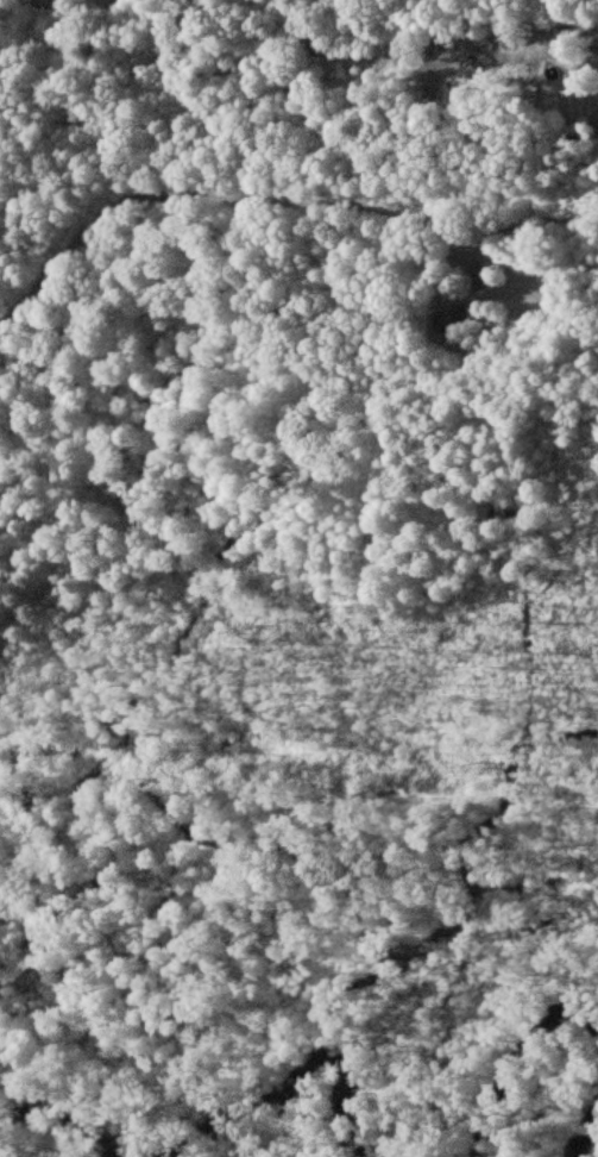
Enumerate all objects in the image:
building: (578, 89)
road: (271, 196)
building: (477, 277)
building: (451, 319)

